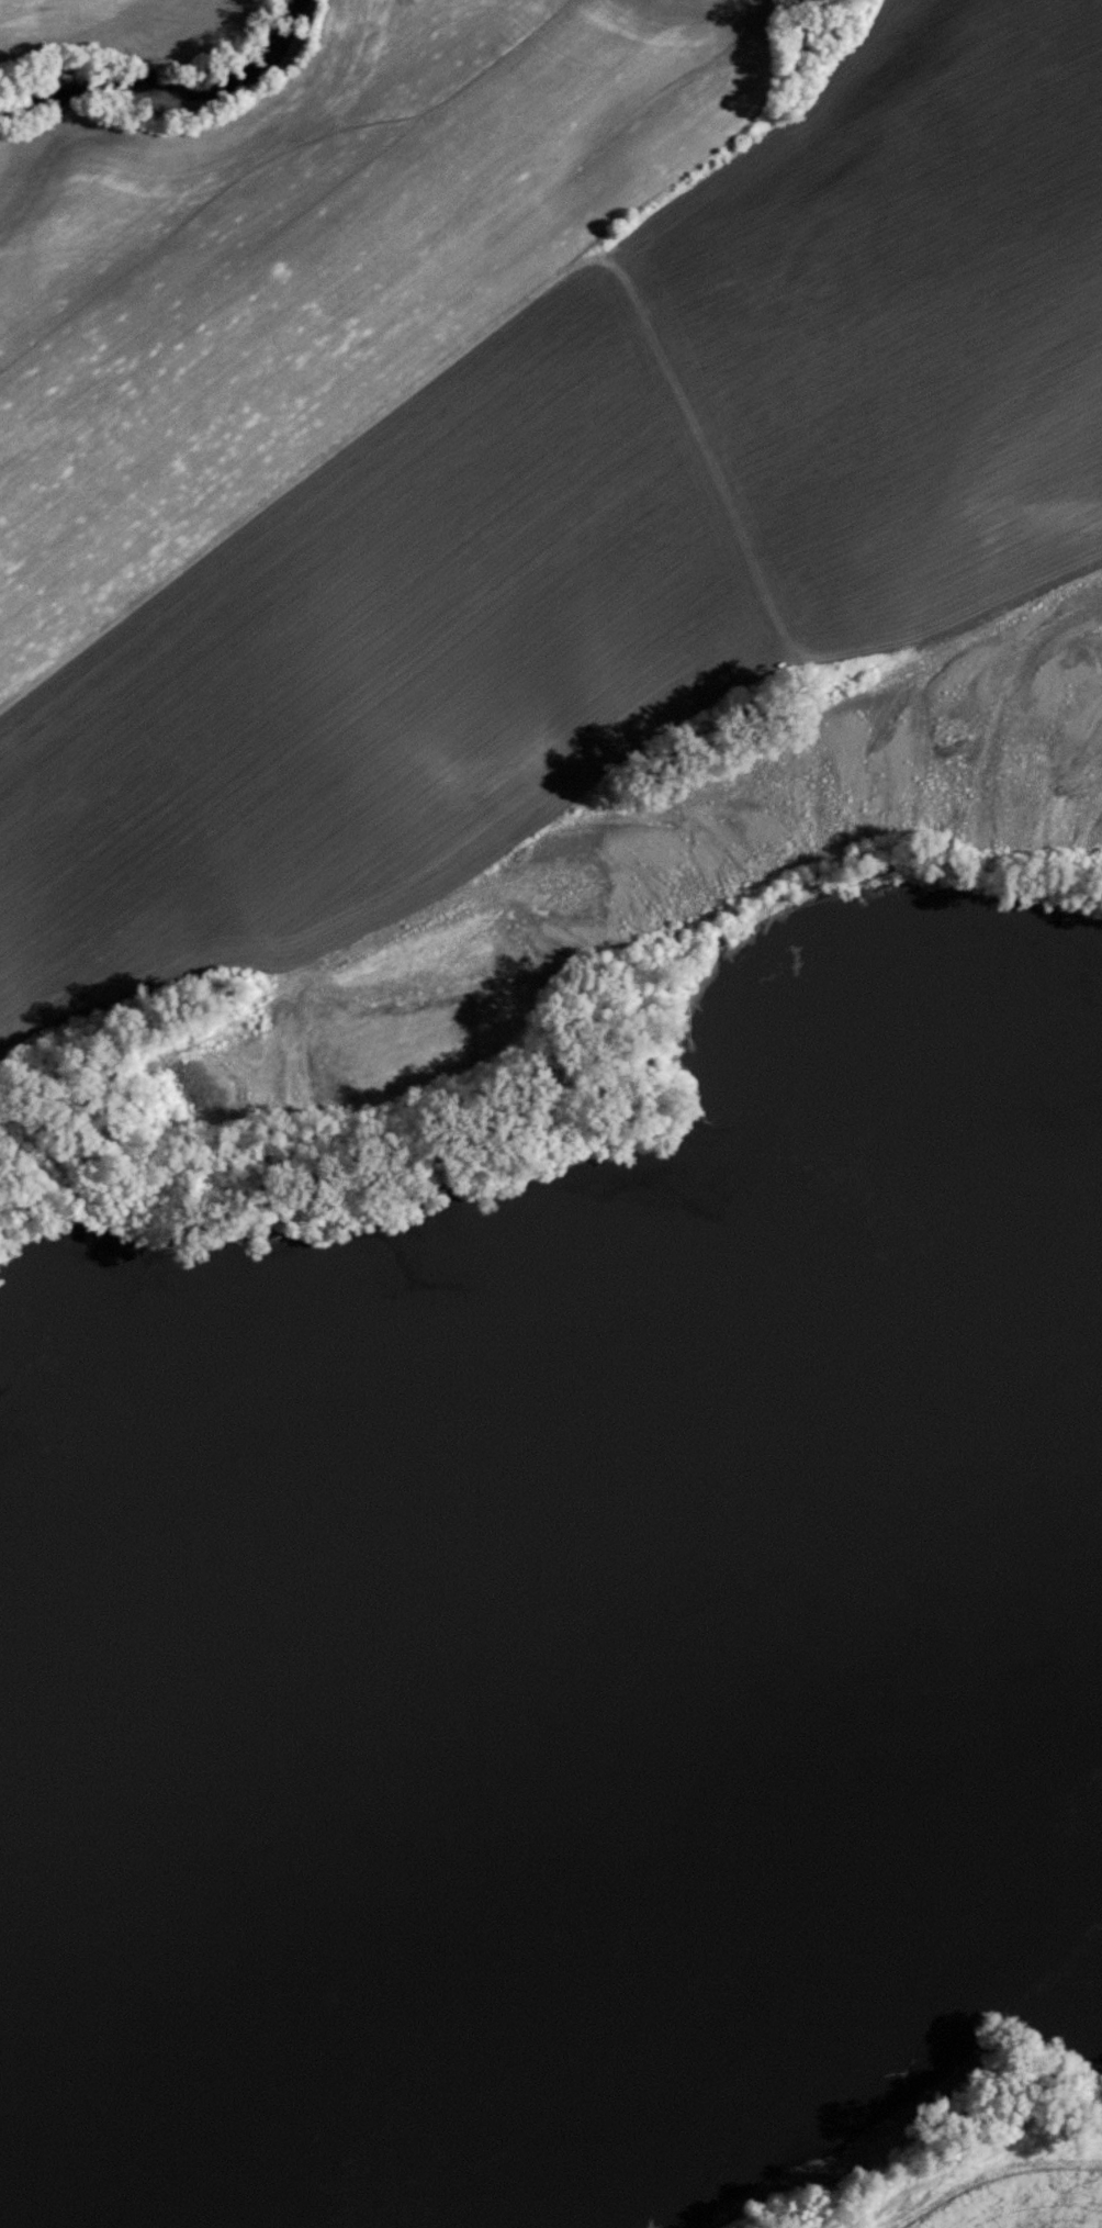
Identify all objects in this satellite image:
river: (548, 1731)

